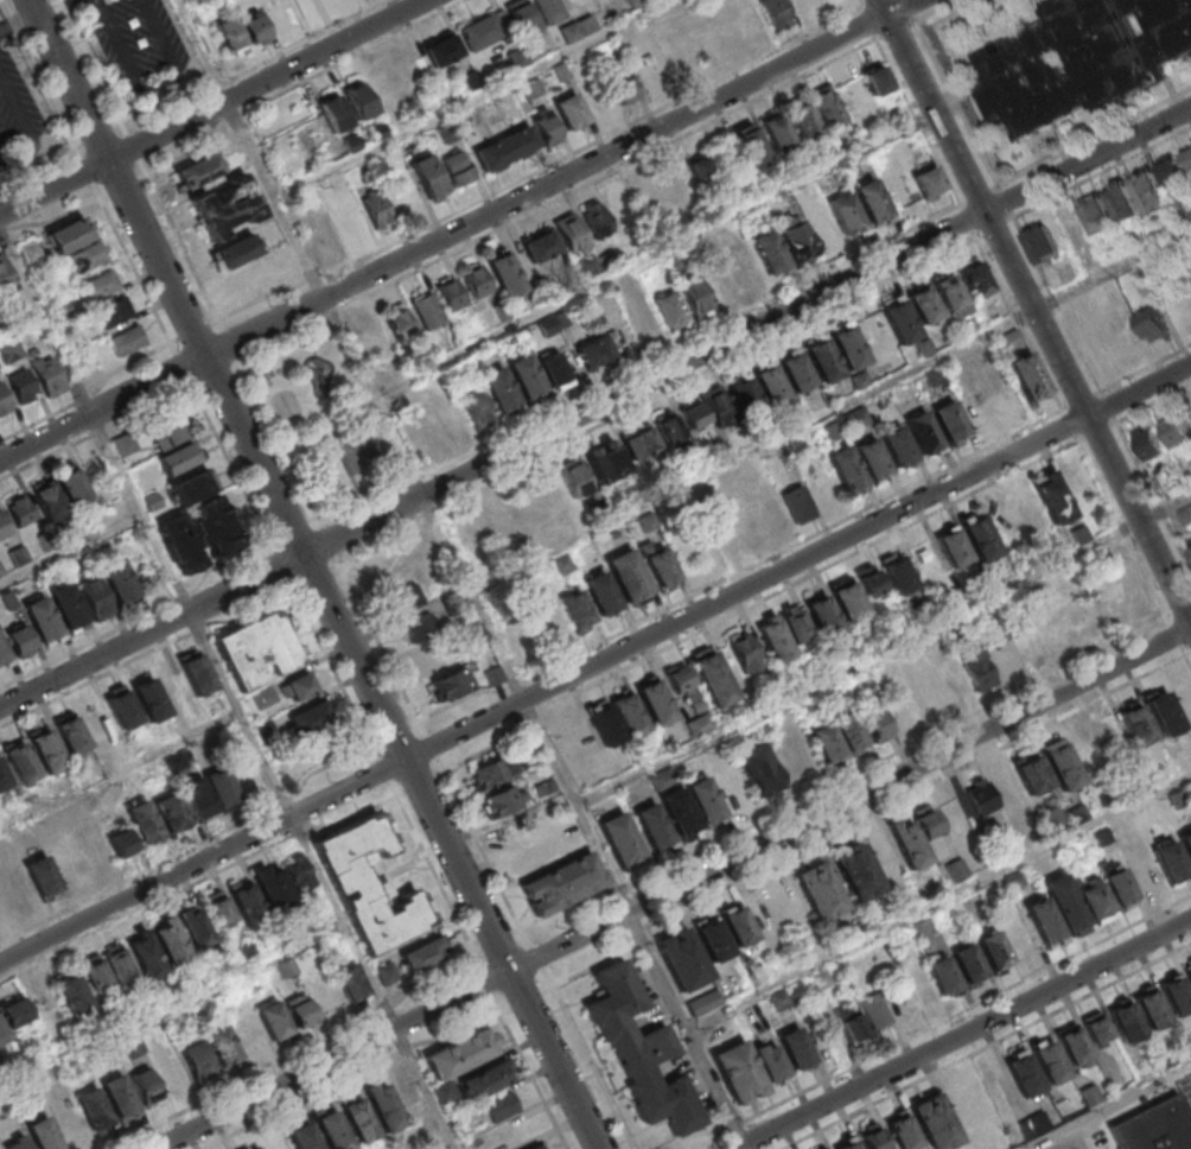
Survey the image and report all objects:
road: (875, 2)
building: (635, 4)
road: (53, 7)
road: (932, 9)
building: (549, 11)
building: (776, 13)
road: (18, 15)
building: (521, 18)
building: (586, 26)
building: (254, 28)
road: (896, 28)
building: (480, 33)
building: (569, 33)
building: (229, 38)
parking lot: (141, 43)
building: (441, 51)
building: (516, 59)
building: (1081, 59)
building: (644, 66)
road: (96, 68)
building: (875, 78)
road: (43, 80)
building: (471, 81)
road: (293, 85)
building: (530, 89)
building: (622, 89)
road: (477, 99)
building: (358, 102)
road: (956, 103)
building: (827, 104)
road: (214, 107)
building: (569, 112)
building: (333, 114)
parking lot: (20, 115)
building: (802, 119)
road: (919, 123)
road: (26, 127)
building: (544, 129)
building: (376, 132)
building: (777, 132)
road: (1090, 140)
building: (750, 142)
building: (352, 145)
road: (138, 148)
building: (508, 151)
building: (1187, 158)
road: (33, 166)
building: (705, 166)
road: (542, 169)
building: (456, 170)
road: (90, 171)
building: (198, 172)
road: (1102, 172)
building: (1172, 172)
building: (428, 178)
building: (928, 182)
road: (125, 186)
building: (674, 188)
building: (1152, 195)
road: (556, 198)
road: (980, 198)
building: (403, 201)
building: (871, 202)
road: (1005, 202)
building: (1125, 204)
building: (225, 207)
building: (376, 209)
building: (846, 215)
building: (1100, 217)
building: (595, 218)
road: (56, 221)
building: (819, 226)
building: (357, 227)
building: (1076, 227)
road: (458, 231)
building: (571, 233)
building: (69, 234)
building: (795, 241)
building: (320, 242)
building: (1042, 245)
building: (540, 246)
road: (185, 247)
building: (234, 250)
building: (1107, 253)
road: (656, 254)
building: (768, 254)
building: (87, 256)
road: (138, 269)
building: (5, 273)
building: (504, 273)
building: (745, 273)
building: (973, 278)
building: (475, 279)
building: (243, 280)
building: (101, 284)
building: (1190, 291)
building: (448, 292)
building: (949, 293)
building: (693, 296)
building: (922, 303)
road: (1058, 306)
building: (426, 309)
building: (669, 309)
road: (1034, 310)
building: (114, 313)
building: (898, 319)
building: (399, 323)
building: (1154, 325)
road: (23, 329)
road: (749, 329)
road: (198, 331)
building: (1011, 338)
building: (1129, 338)
building: (370, 339)
building: (127, 341)
building: (847, 347)
road: (235, 348)
road: (314, 348)
road: (355, 349)
building: (592, 351)
building: (9, 354)
building: (821, 358)
road: (186, 369)
road: (641, 369)
building: (795, 369)
building: (382, 372)
building: (554, 373)
building: (51, 376)
building: (1027, 376)
building: (524, 379)
building: (769, 382)
building: (25, 387)
building: (498, 391)
building: (741, 391)
road: (1140, 391)
road: (95, 395)
building: (1001, 399)
building: (5, 402)
building: (716, 405)
road: (1109, 407)
building: (473, 408)
building: (974, 408)
building: (1189, 410)
road: (832, 413)
building: (693, 414)
building: (855, 418)
building: (448, 420)
park: (325, 423)
building: (949, 423)
building: (668, 429)
building: (422, 432)
building: (923, 433)
building: (1174, 433)
park: (354, 440)
building: (639, 442)
building: (173, 444)
building: (125, 445)
building: (1148, 445)
road: (284, 446)
building: (897, 446)
building: (872, 459)
building: (606, 464)
building: (846, 469)
building: (573, 477)
building: (71, 485)
building: (191, 487)
road: (1152, 496)
building: (1052, 497)
building: (46, 500)
building: (785, 508)
building: (20, 510)
building: (1185, 516)
building: (504, 520)
building: (2, 525)
building: (745, 525)
road: (294, 529)
building: (198, 534)
building: (979, 537)
building: (722, 538)
road: (275, 539)
road: (332, 544)
building: (1190, 544)
building: (951, 546)
building: (1190, 546)
road: (71, 548)
building: (658, 564)
building: (389, 567)
road: (288, 573)
road: (318, 573)
building: (897, 573)
building: (628, 576)
building: (868, 580)
building: (120, 583)
building: (600, 593)
building: (405, 596)
building: (847, 598)
building: (97, 601)
building: (69, 608)
building: (575, 609)
road: (1182, 609)
building: (822, 615)
road: (1170, 615)
road: (139, 618)
road: (1168, 620)
building: (43, 621)
building: (418, 626)
road: (153, 630)
road: (1176, 634)
building: (19, 642)
road: (384, 648)
building: (255, 649)
road: (1183, 649)
building: (743, 650)
road: (883, 650)
building: (1001, 654)
building: (4, 656)
road: (1187, 659)
building: (977, 669)
building: (198, 677)
building: (712, 677)
road: (96, 680)
building: (681, 680)
building: (451, 684)
road: (228, 686)
building: (297, 686)
building: (926, 688)
road: (544, 692)
building: (263, 697)
road: (461, 698)
building: (654, 702)
building: (152, 703)
building: (214, 704)
building: (125, 712)
building: (1163, 712)
building: (628, 713)
building: (306, 718)
building: (604, 723)
building: (699, 724)
building: (1135, 724)
building: (877, 725)
building: (848, 730)
road: (395, 731)
building: (74, 737)
building: (826, 741)
building: (1085, 749)
road: (434, 750)
road: (894, 753)
building: (49, 755)
building: (1061, 764)
building: (23, 766)
building: (757, 769)
road: (120, 770)
road: (387, 774)
building: (490, 774)
building: (1032, 775)
road: (444, 777)
building: (5, 781)
road: (423, 787)
road: (917, 788)
building: (224, 789)
building: (1010, 793)
road: (403, 796)
building: (199, 798)
building: (981, 798)
building: (503, 801)
building: (692, 808)
building: (170, 813)
building: (146, 825)
building: (652, 827)
building: (912, 836)
building: (620, 843)
building: (1186, 843)
road: (193, 844)
building: (123, 846)
building: (91, 850)
road: (485, 853)
building: (1170, 859)
building: (66, 864)
building: (855, 870)
building: (955, 870)
building: (298, 872)
building: (40, 876)
road: (437, 877)
building: (1151, 877)
building: (371, 883)
building: (562, 883)
building: (1117, 884)
building: (273, 885)
road: (674, 889)
building: (817, 889)
road: (618, 891)
building: (17, 893)
road: (940, 901)
building: (1095, 901)
building: (247, 903)
building: (1065, 904)
building: (217, 908)
road: (560, 908)
building: (1043, 922)
building: (737, 923)
road: (637, 925)
building: (195, 927)
road: (638, 929)
building: (712, 938)
road: (495, 940)
building: (174, 946)
building: (422, 953)
building: (995, 953)
building: (148, 958)
road: (534, 958)
building: (681, 958)
road: (590, 966)
building: (970, 967)
building: (120, 969)
building: (288, 970)
building: (1187, 971)
building: (386, 972)
building: (942, 976)
building: (97, 977)
road: (485, 984)
building: (352, 985)
building: (1176, 994)
building: (75, 997)
road: (523, 1001)
building: (782, 1001)
building: (702, 1002)
building: (1149, 1007)
road: (172, 1008)
road: (502, 1011)
building: (877, 1012)
building: (304, 1014)
building: (17, 1015)
building: (1126, 1021)
building: (275, 1024)
building: (852, 1027)
road: (926, 1028)
building: (1096, 1029)
road: (962, 1034)
building: (4, 1035)
road: (986, 1045)
building: (1074, 1046)
building: (135, 1047)
building: (224, 1049)
building: (638, 1049)
building: (796, 1050)
building: (460, 1052)
road: (297, 1053)
road: (585, 1058)
building: (199, 1061)
building: (771, 1062)
building: (1053, 1065)
road: (526, 1072)
building: (1025, 1075)
building: (486, 1078)
building: (741, 1078)
building: (147, 1088)
road: (1146, 1088)
building: (445, 1091)
building: (389, 1097)
building: (120, 1098)
building: (973, 1104)
building: (501, 1106)
building: (95, 1111)
building: (357, 1121)
building: (935, 1123)
building: (1033, 1125)
building: (1157, 1128)
building: (332, 1130)
building: (900, 1130)
building: (44, 1136)
building: (873, 1137)
building: (306, 1138)
building: (20, 1144)
building: (847, 1144)
building: (254, 1147)
building: (537, 1147)
road: (450, 1148)
building: (822, 1148)

